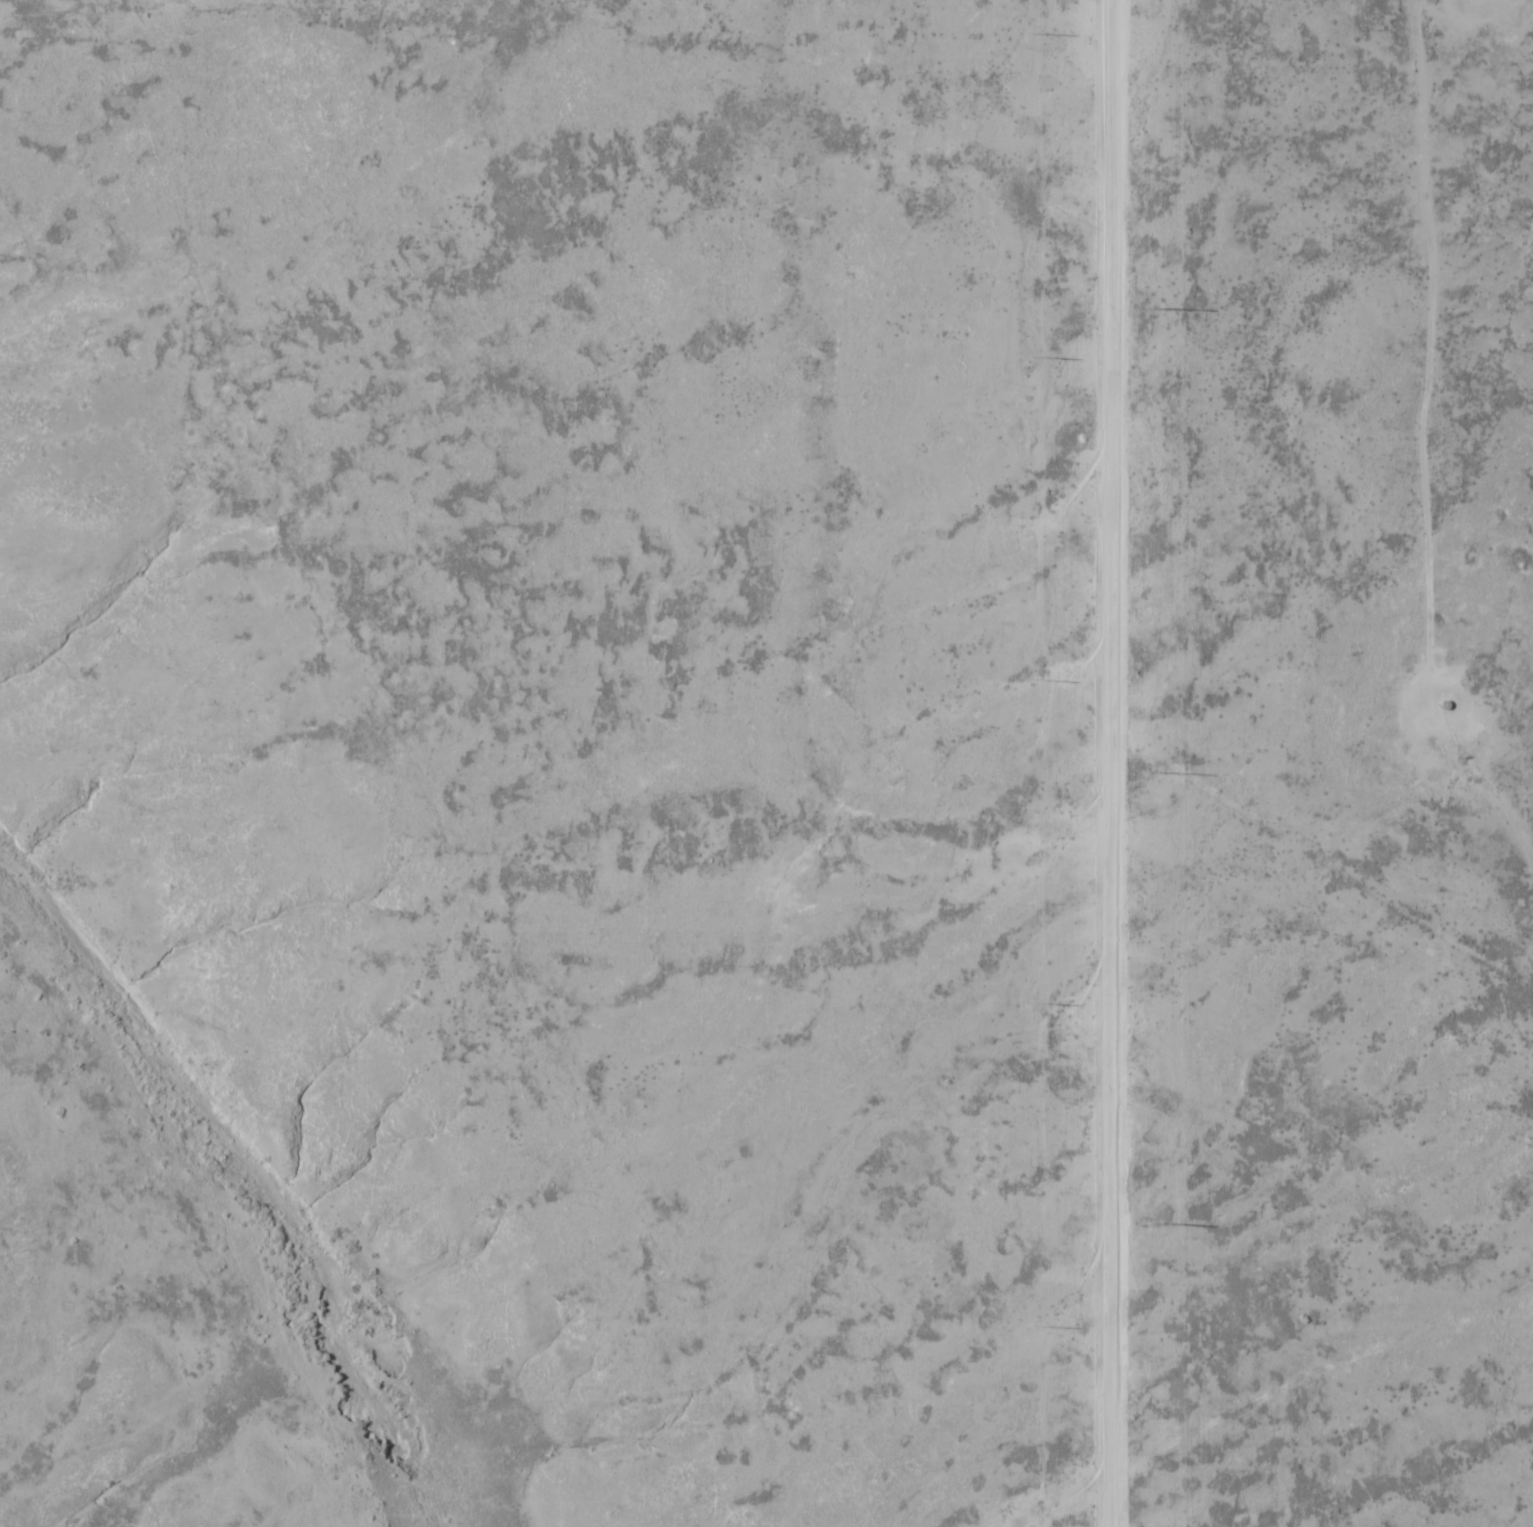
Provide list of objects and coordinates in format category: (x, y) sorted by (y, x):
power tower: (1035, 33)
power tower: (1156, 309)
power tower: (1035, 356)
power tower: (1036, 680)
road: (1107, 763)
power tower: (1154, 773)
power tower: (1036, 1002)
power tower: (1157, 1222)
power tower: (1038, 1325)

